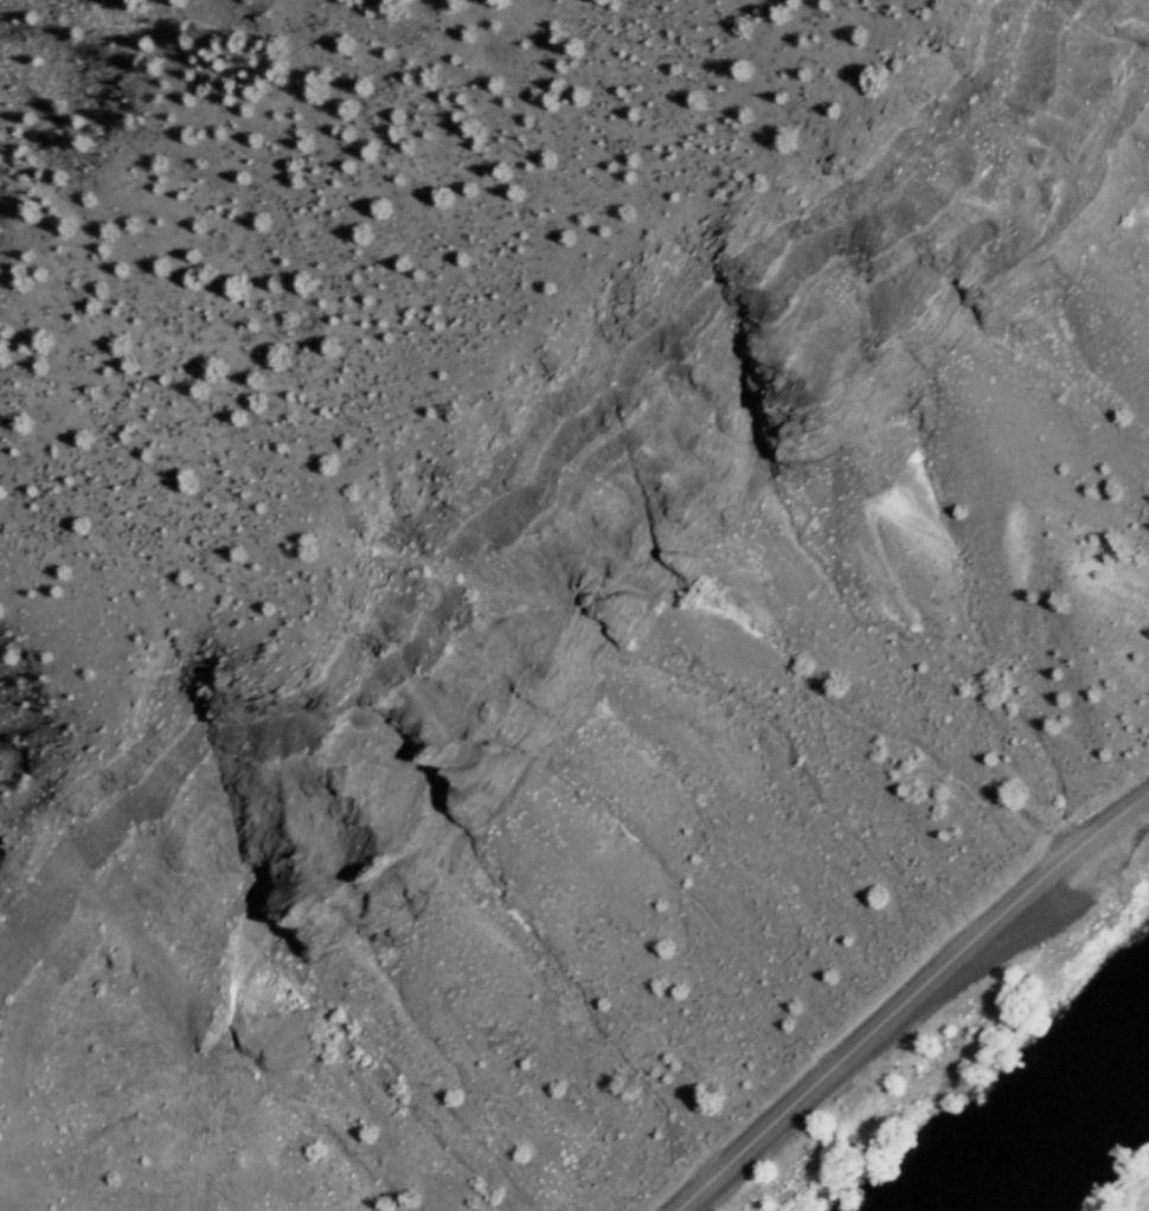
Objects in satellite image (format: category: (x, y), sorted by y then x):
parking lot: (1081, 925)
road: (912, 1005)
river: (1042, 1098)

